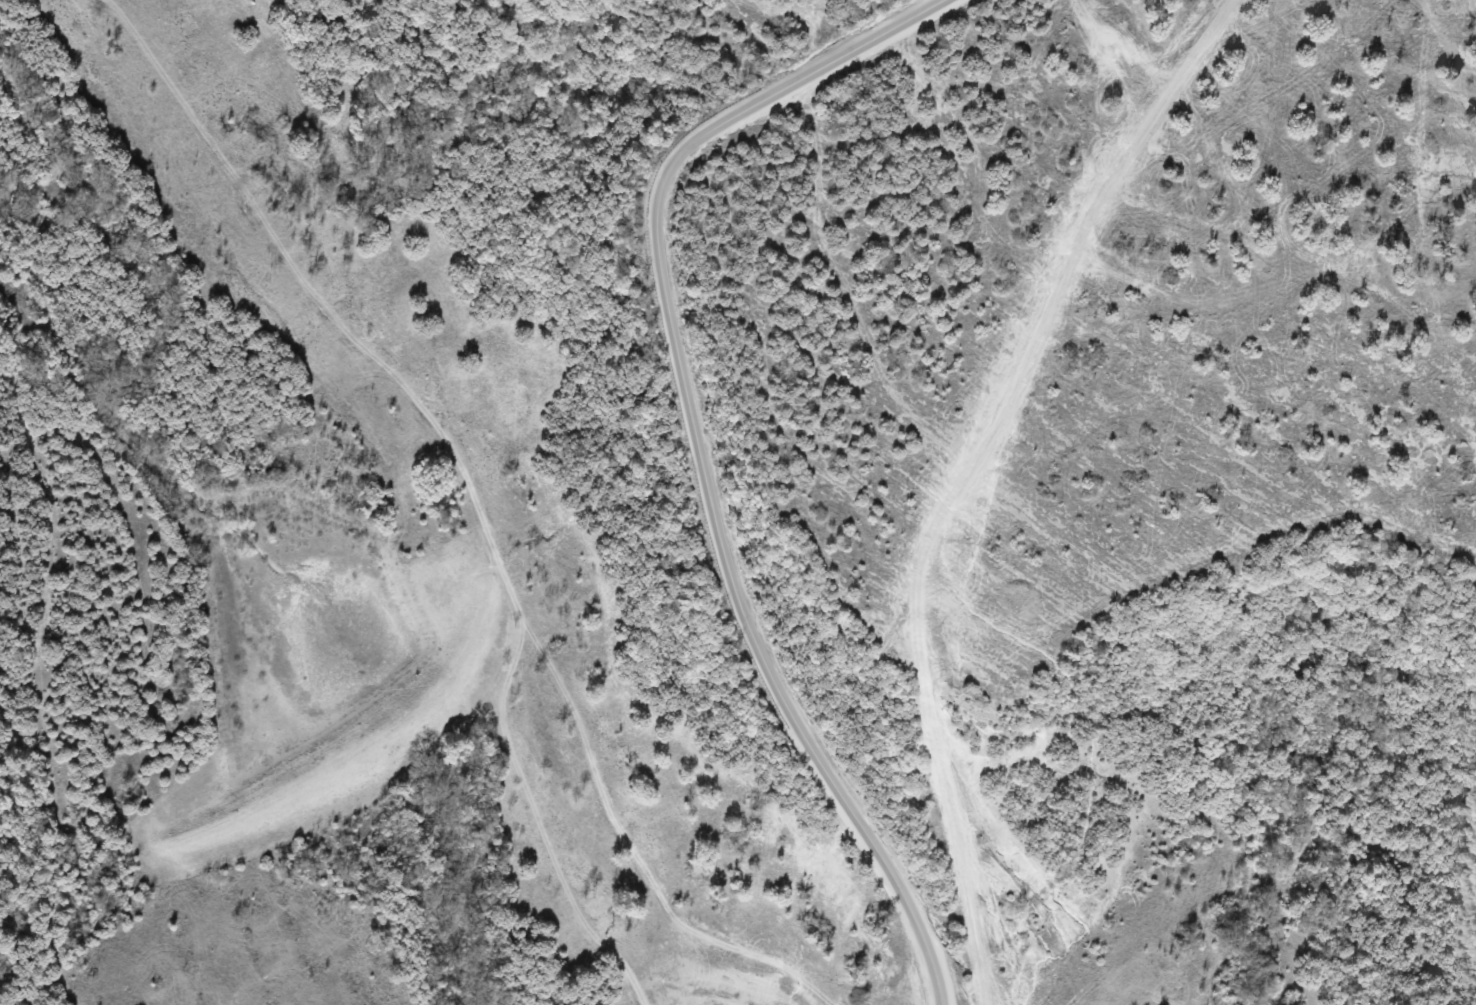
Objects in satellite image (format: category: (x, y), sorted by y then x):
road: (702, 449)
road: (958, 473)

